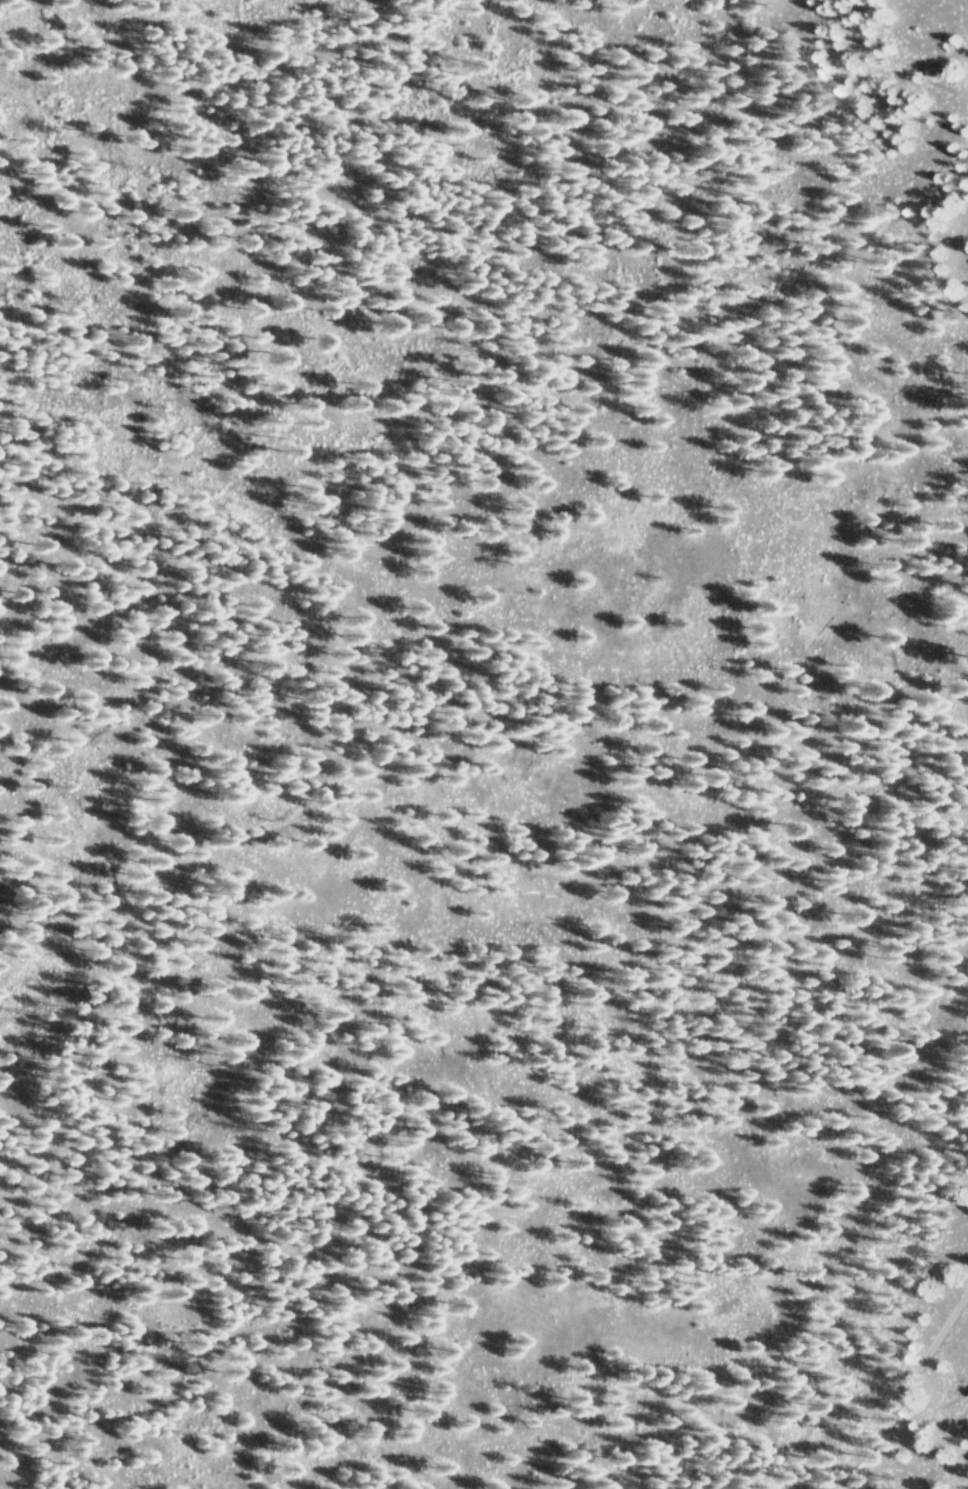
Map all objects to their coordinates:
road: (880, 1368)

